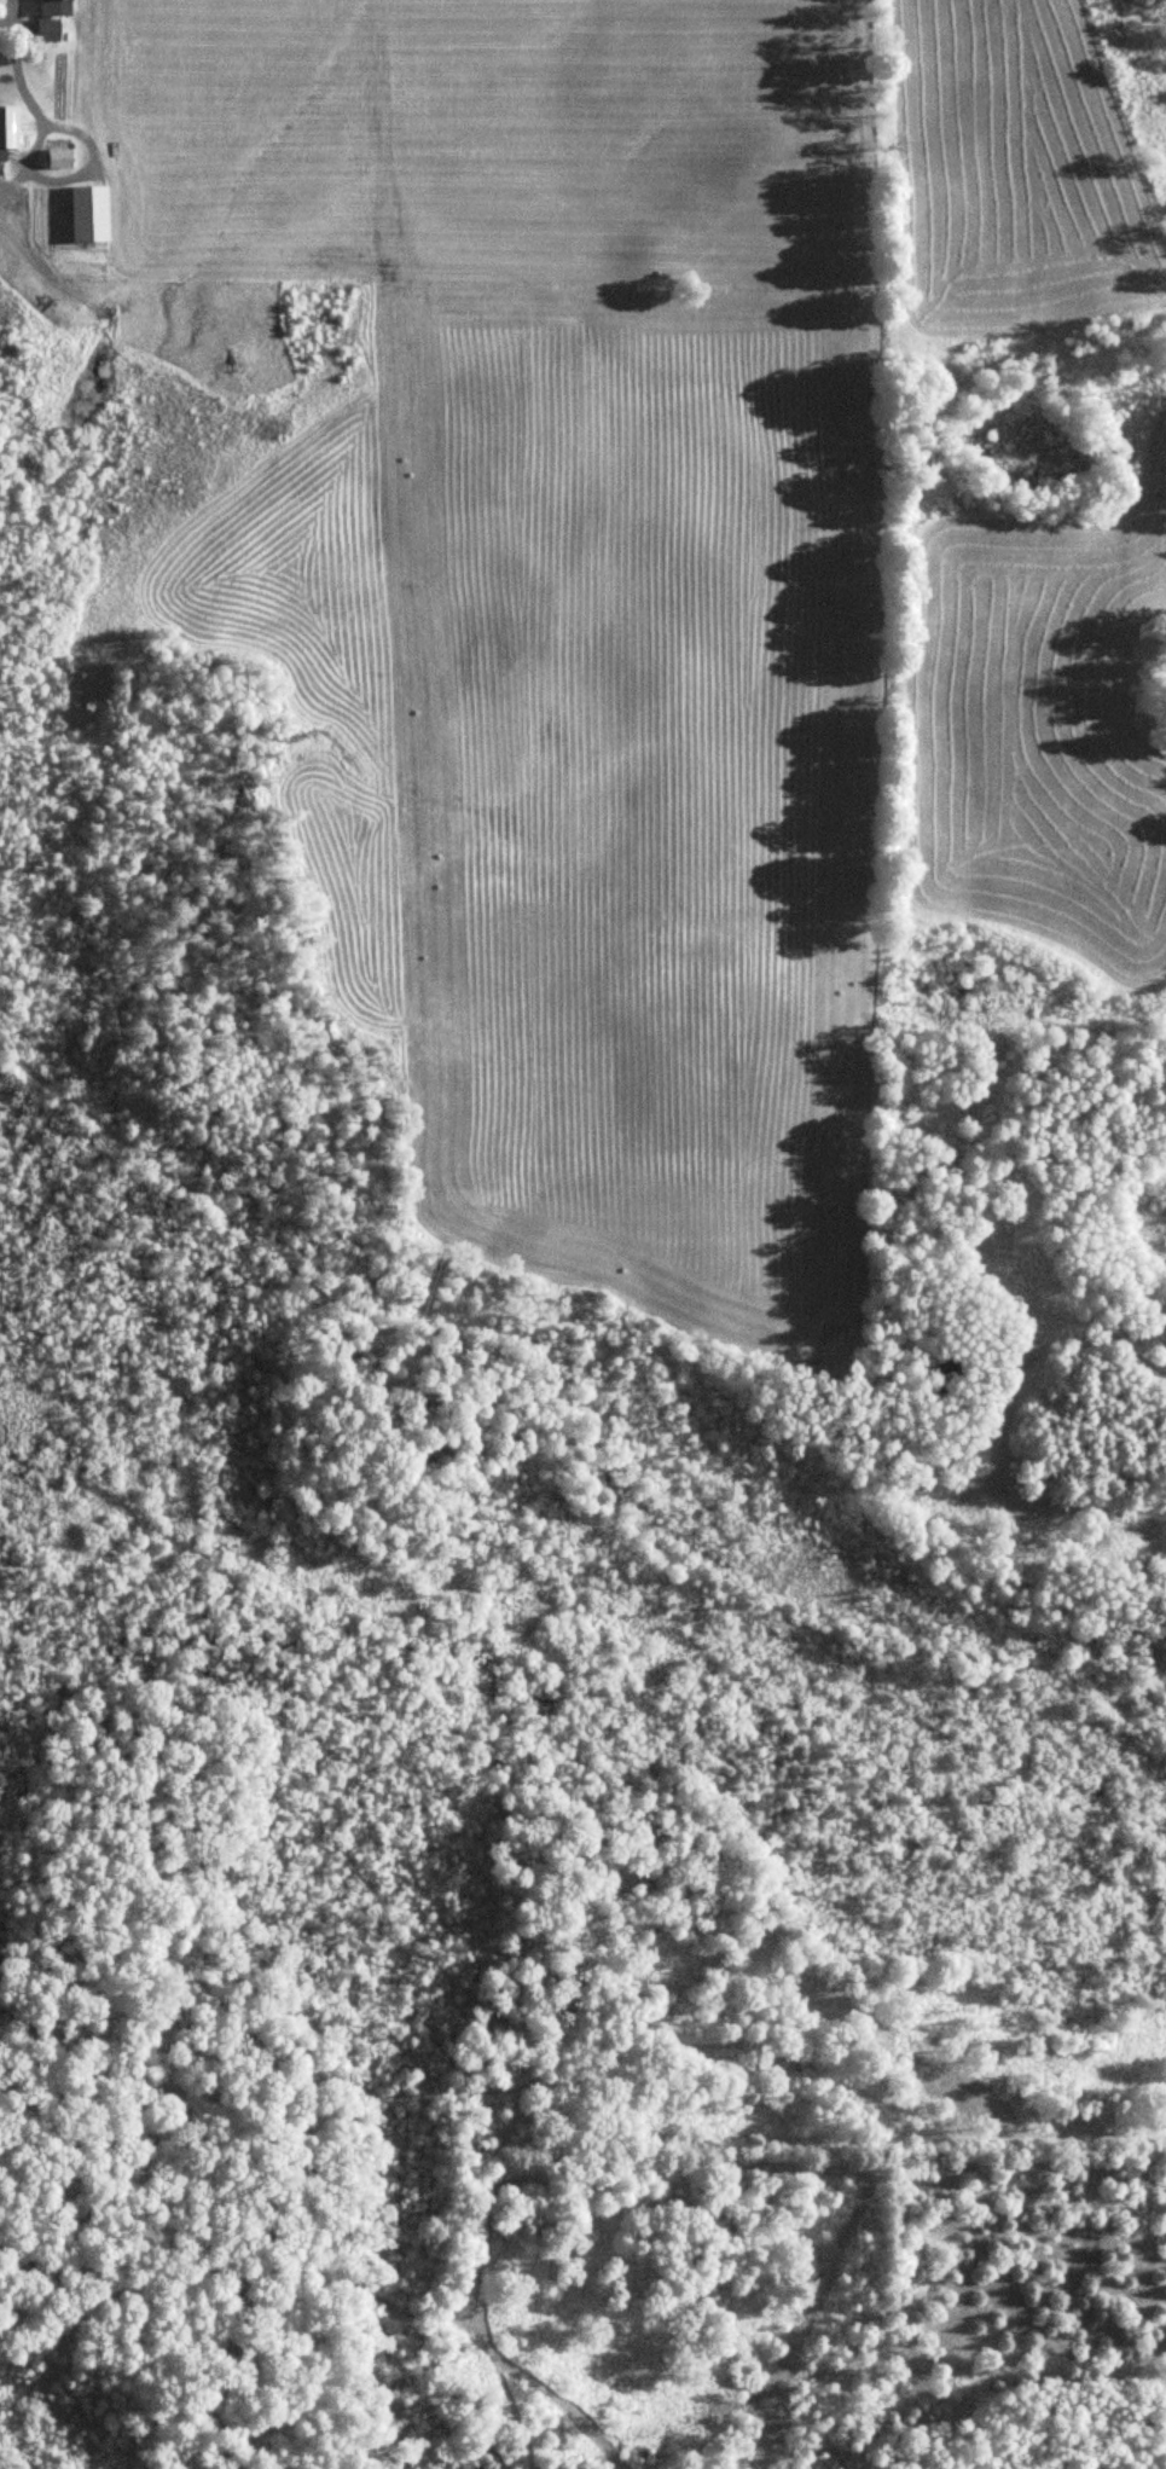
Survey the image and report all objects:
building: (63, 4)
building: (52, 29)
building: (10, 132)
building: (63, 157)
building: (92, 211)

